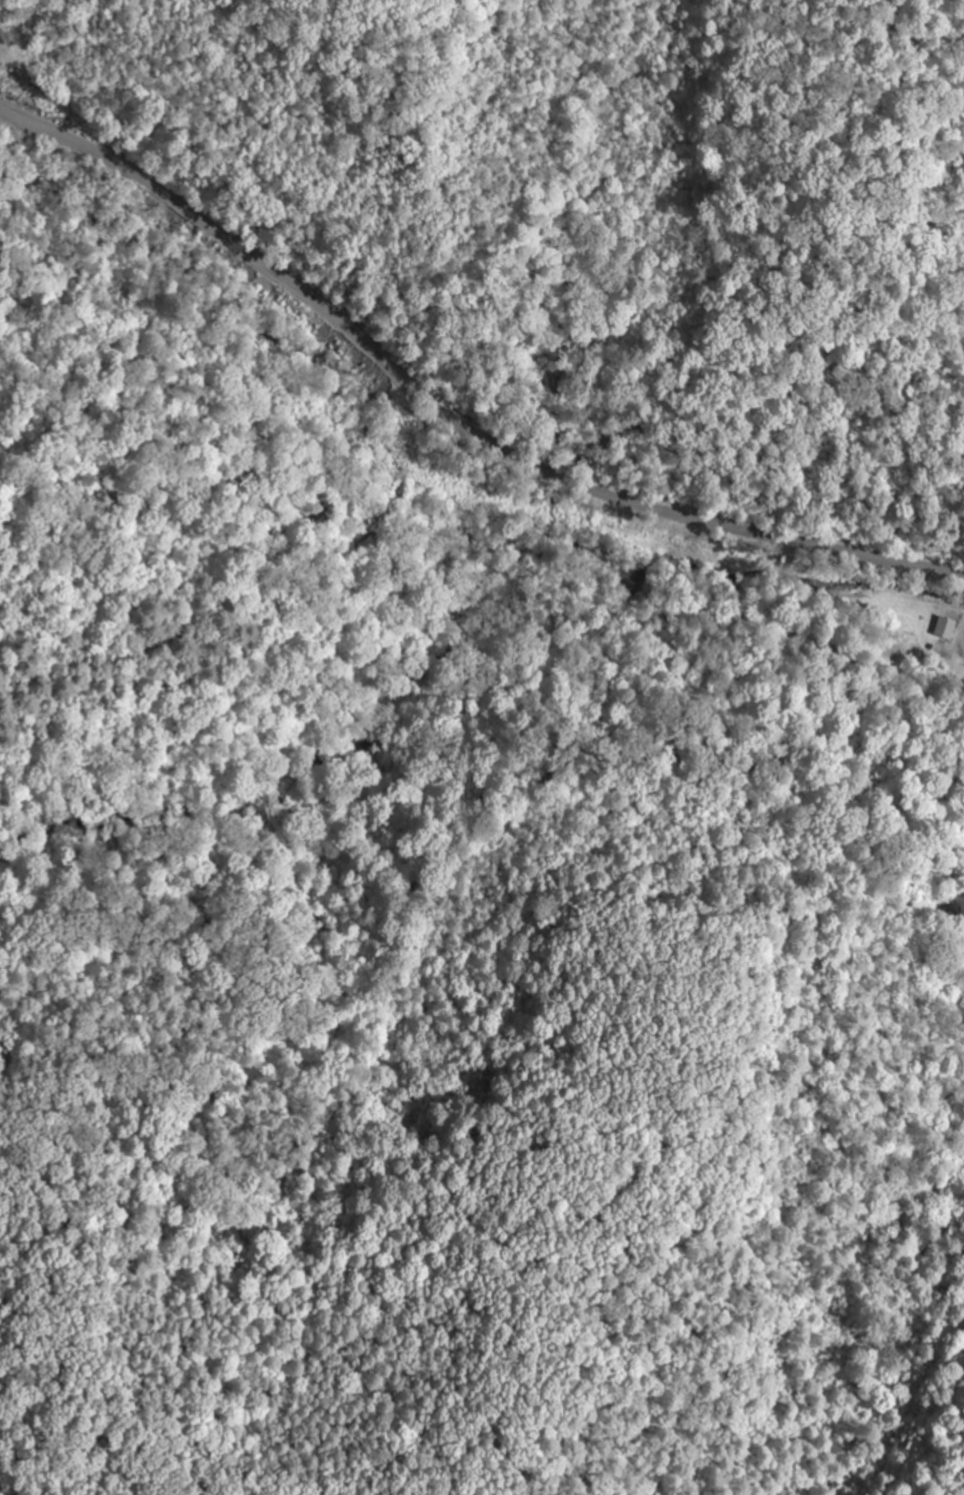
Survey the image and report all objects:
road: (447, 416)
road: (4, 1492)

